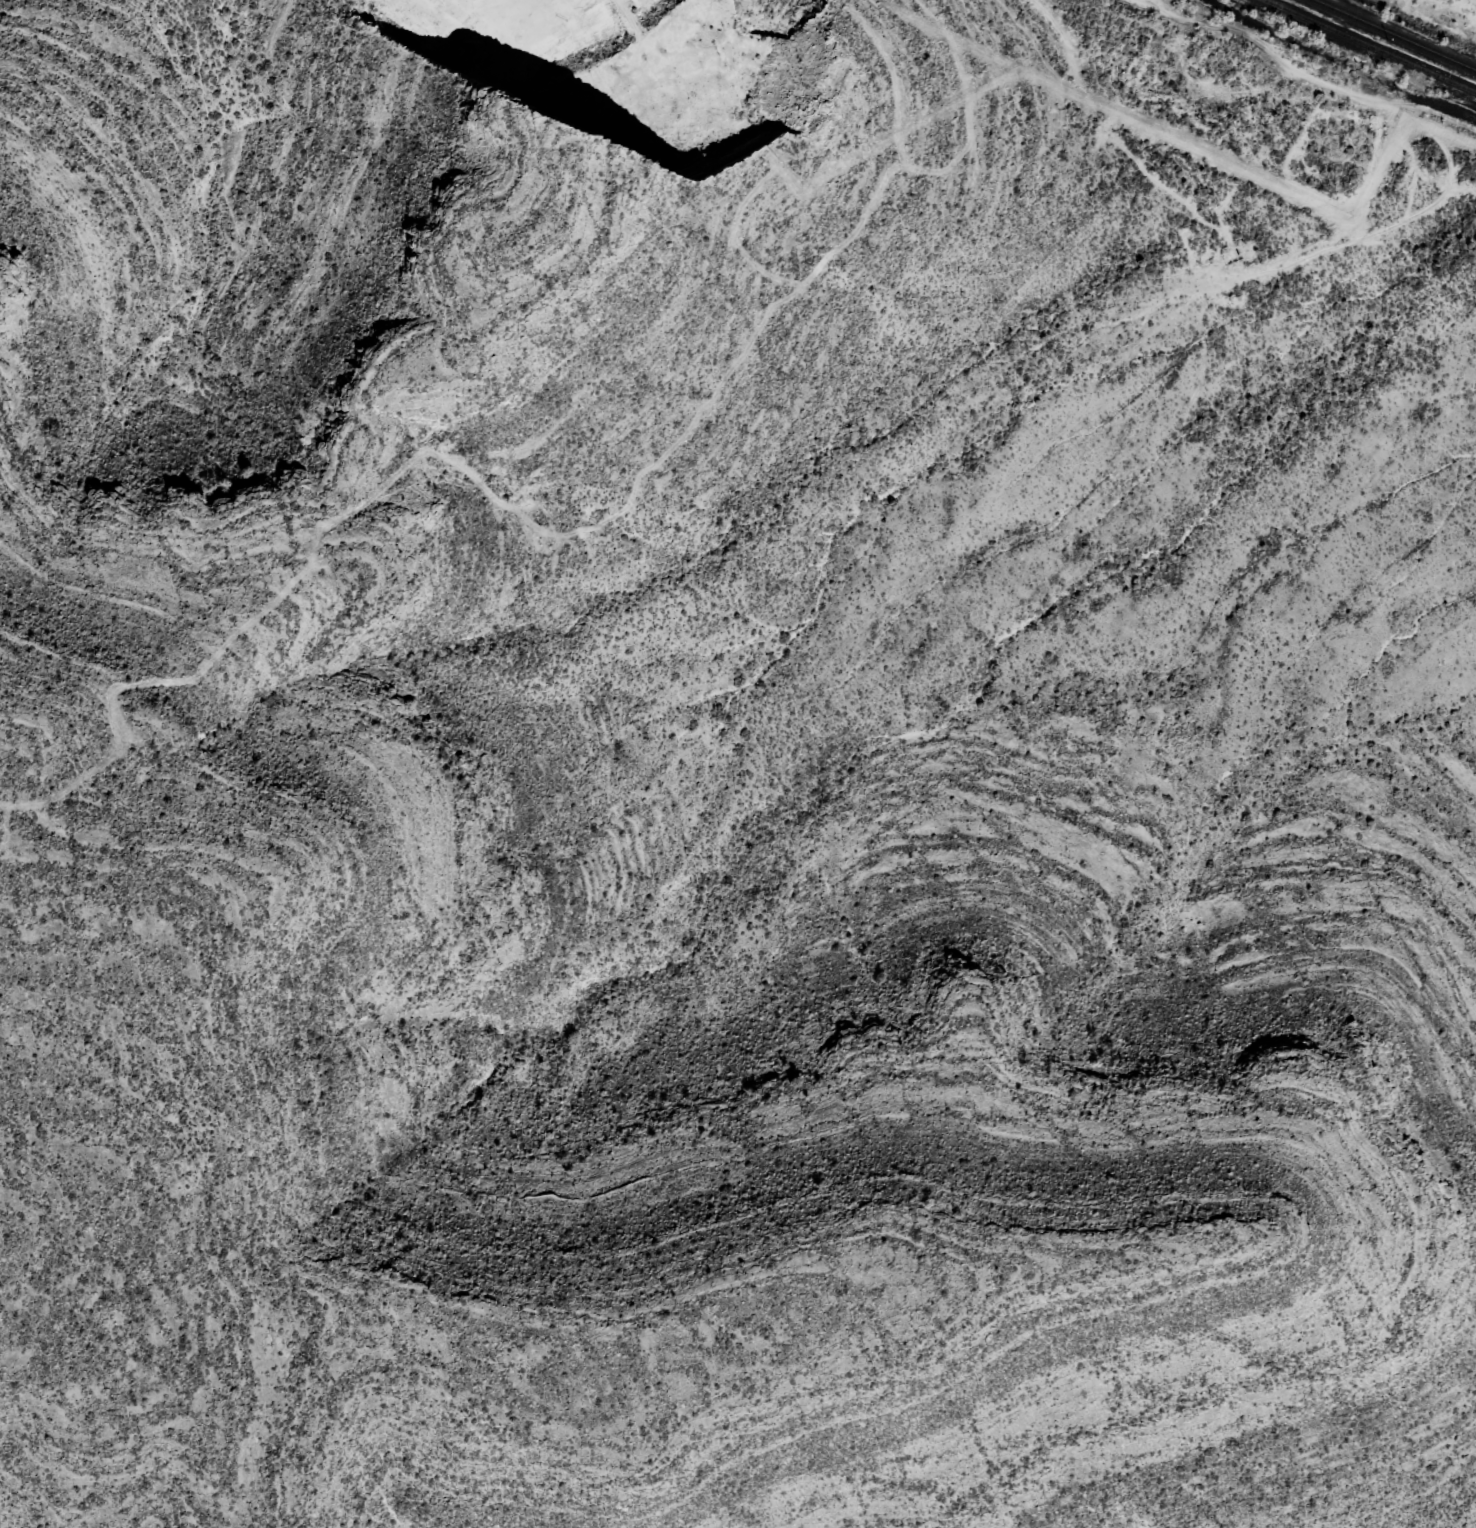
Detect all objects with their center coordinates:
railway: (1394, 35)
railway: (1371, 45)

